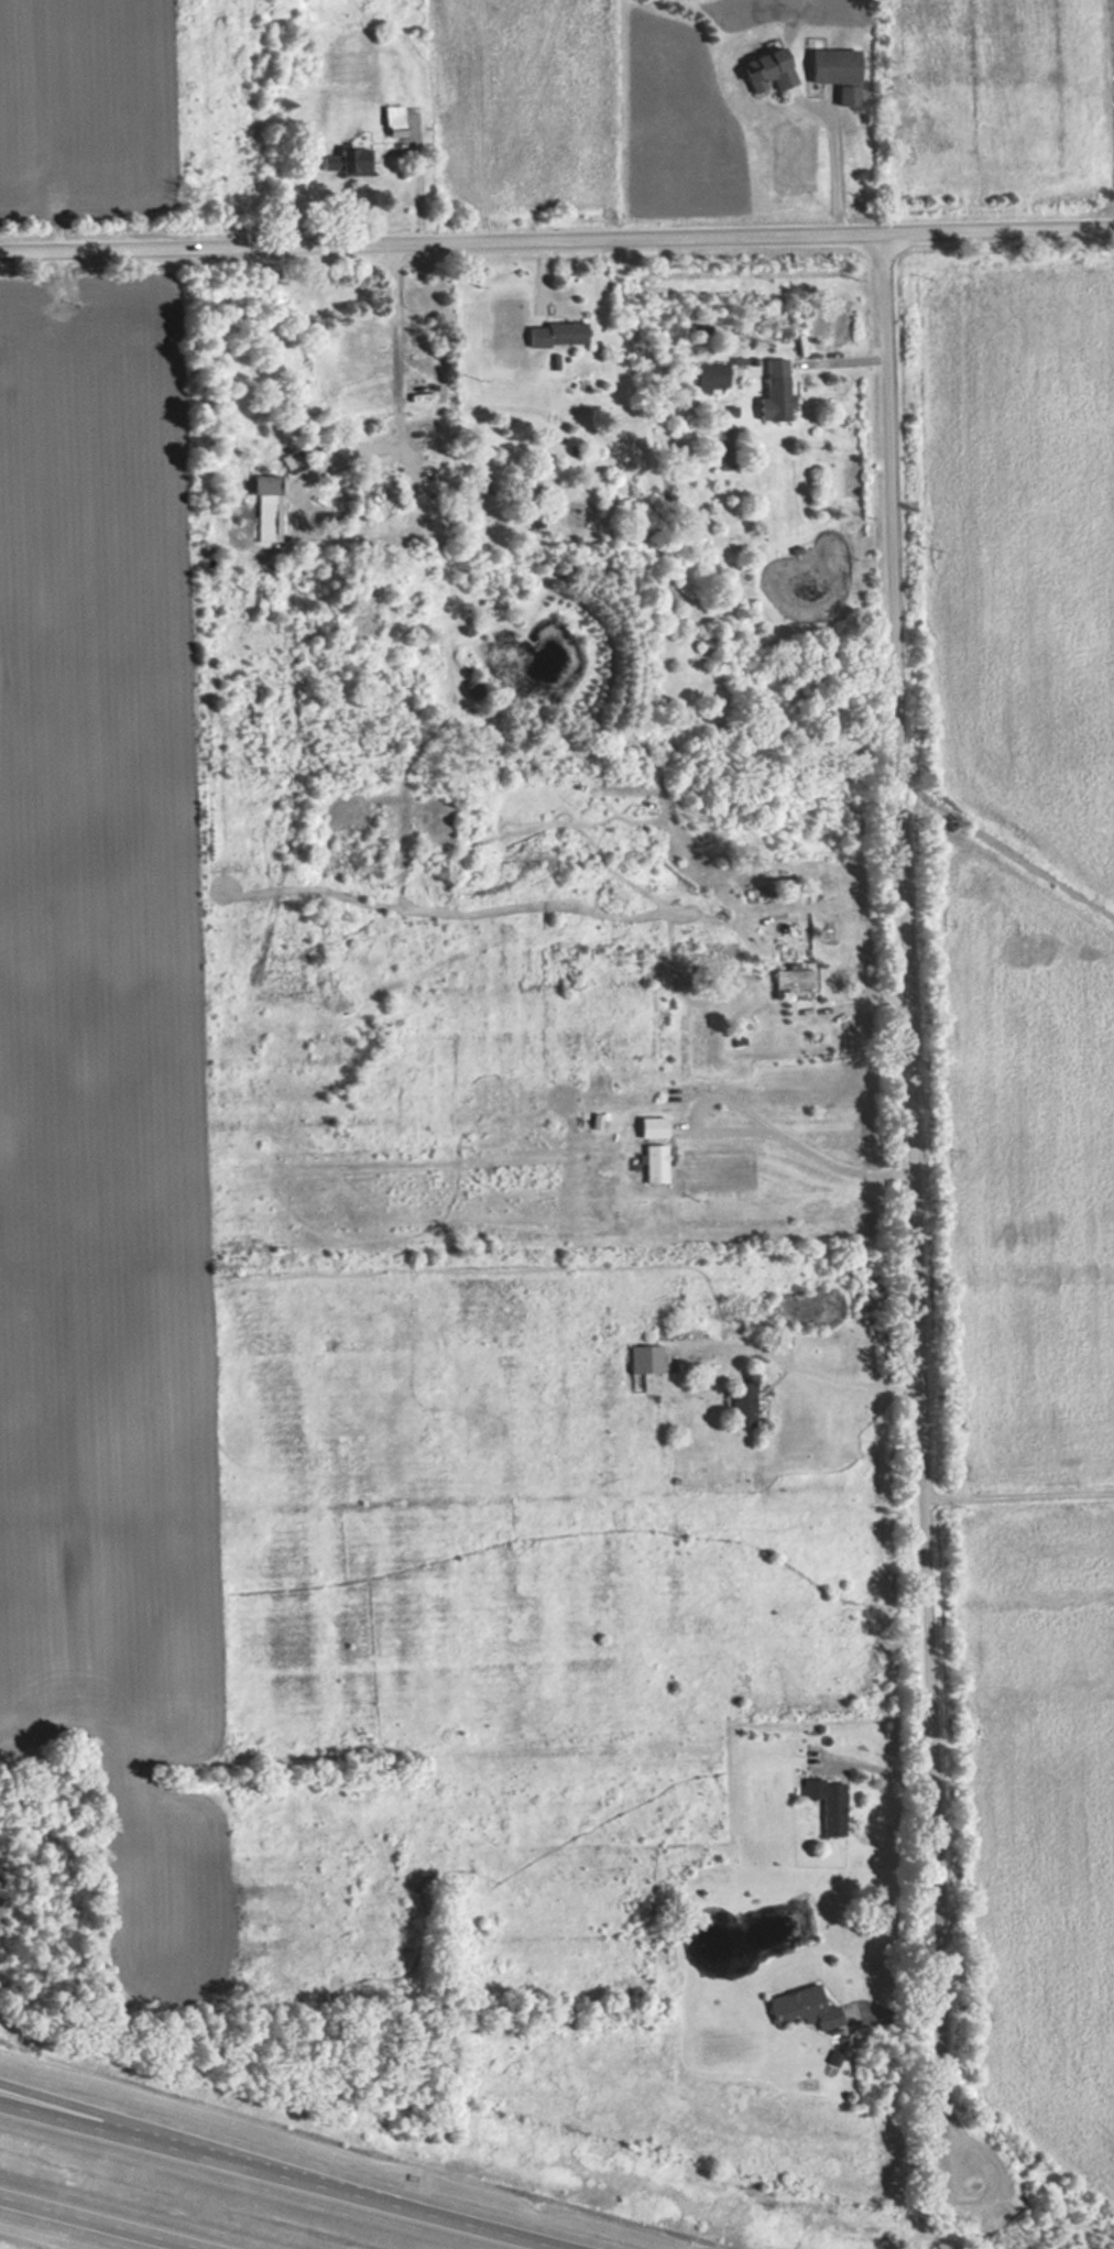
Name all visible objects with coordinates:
building: (760, 70)
building: (830, 72)
building: (389, 121)
building: (340, 157)
road: (838, 168)
road: (557, 234)
building: (550, 334)
building: (360, 352)
building: (707, 379)
building: (769, 391)
building: (405, 394)
building: (263, 507)
building: (786, 981)
road: (746, 1124)
building: (647, 1162)
road: (918, 1207)
building: (640, 1358)
road: (851, 1386)
building: (735, 1404)
road: (880, 1766)
building: (823, 1804)
building: (797, 2007)
road: (47, 2101)
road: (293, 2170)
road: (106, 2221)

